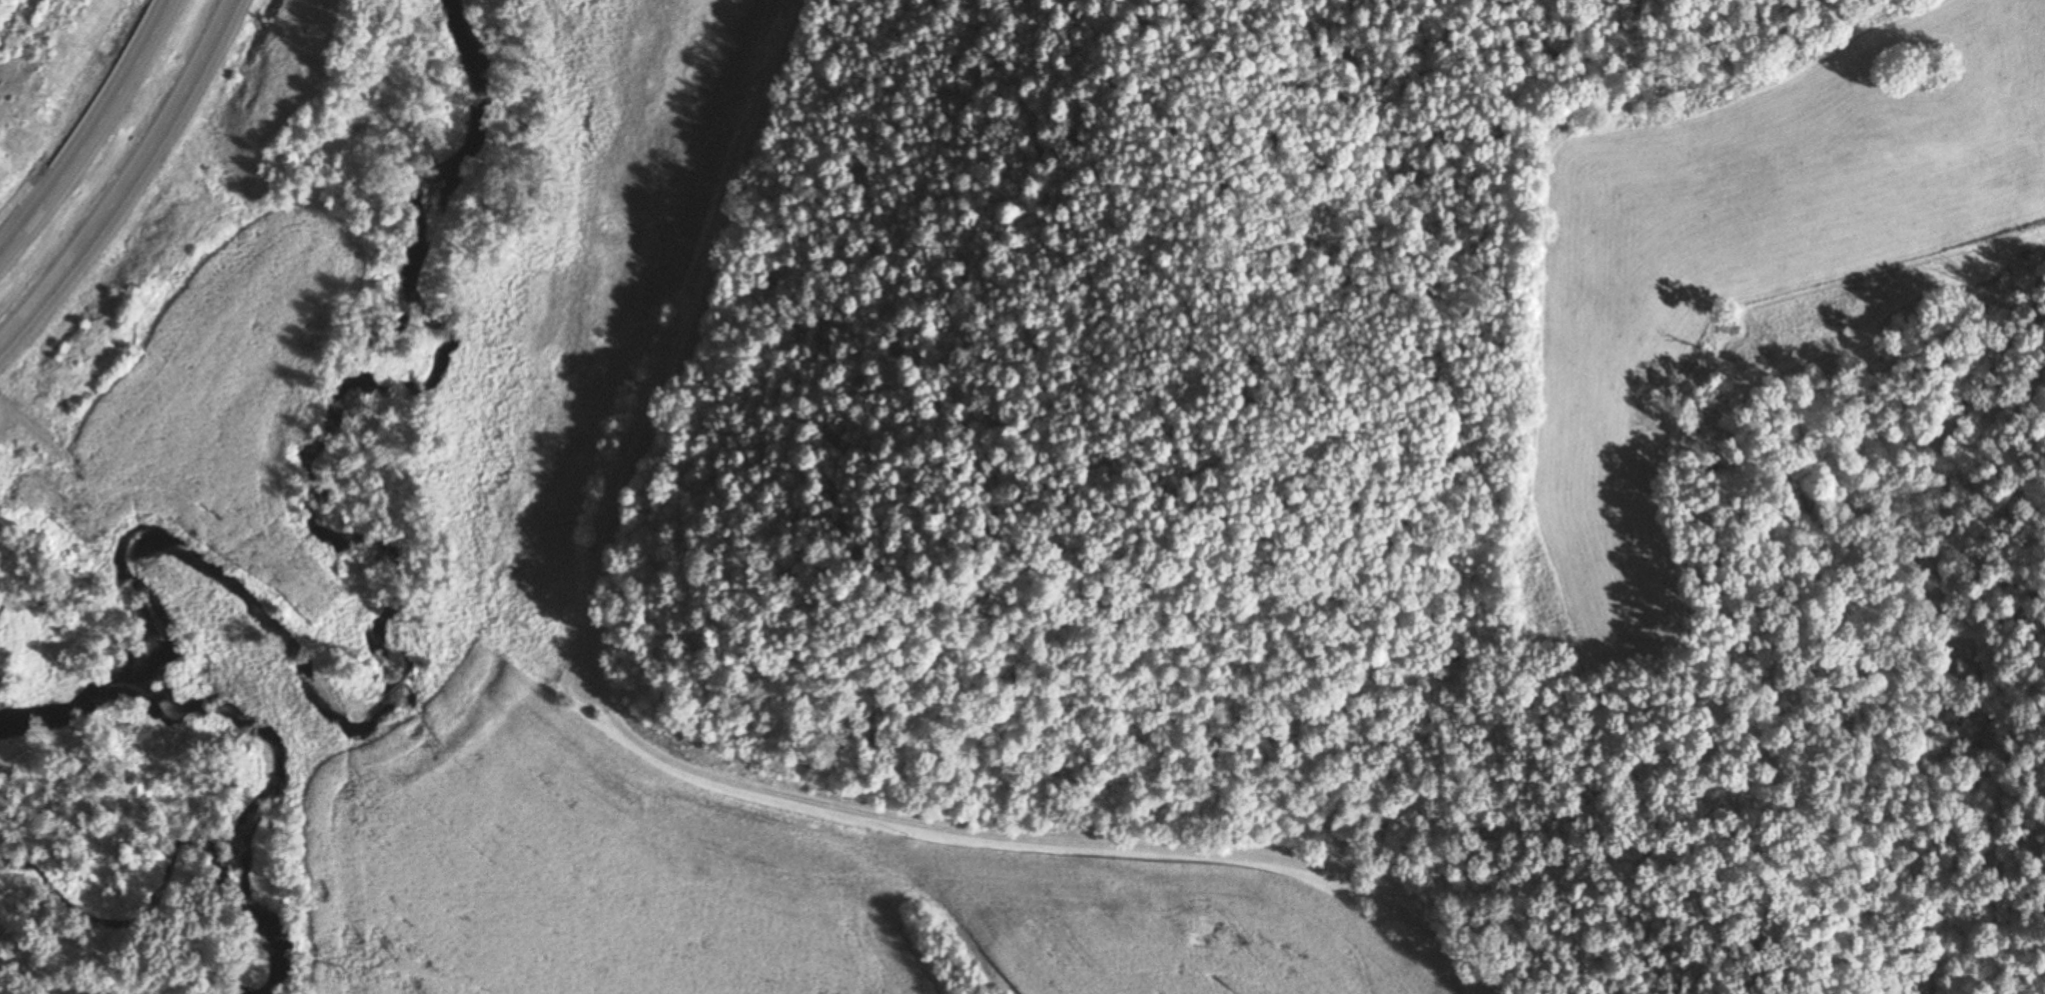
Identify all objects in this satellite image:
road: (90, 131)
road: (131, 183)
road: (692, 342)
road: (1043, 843)

